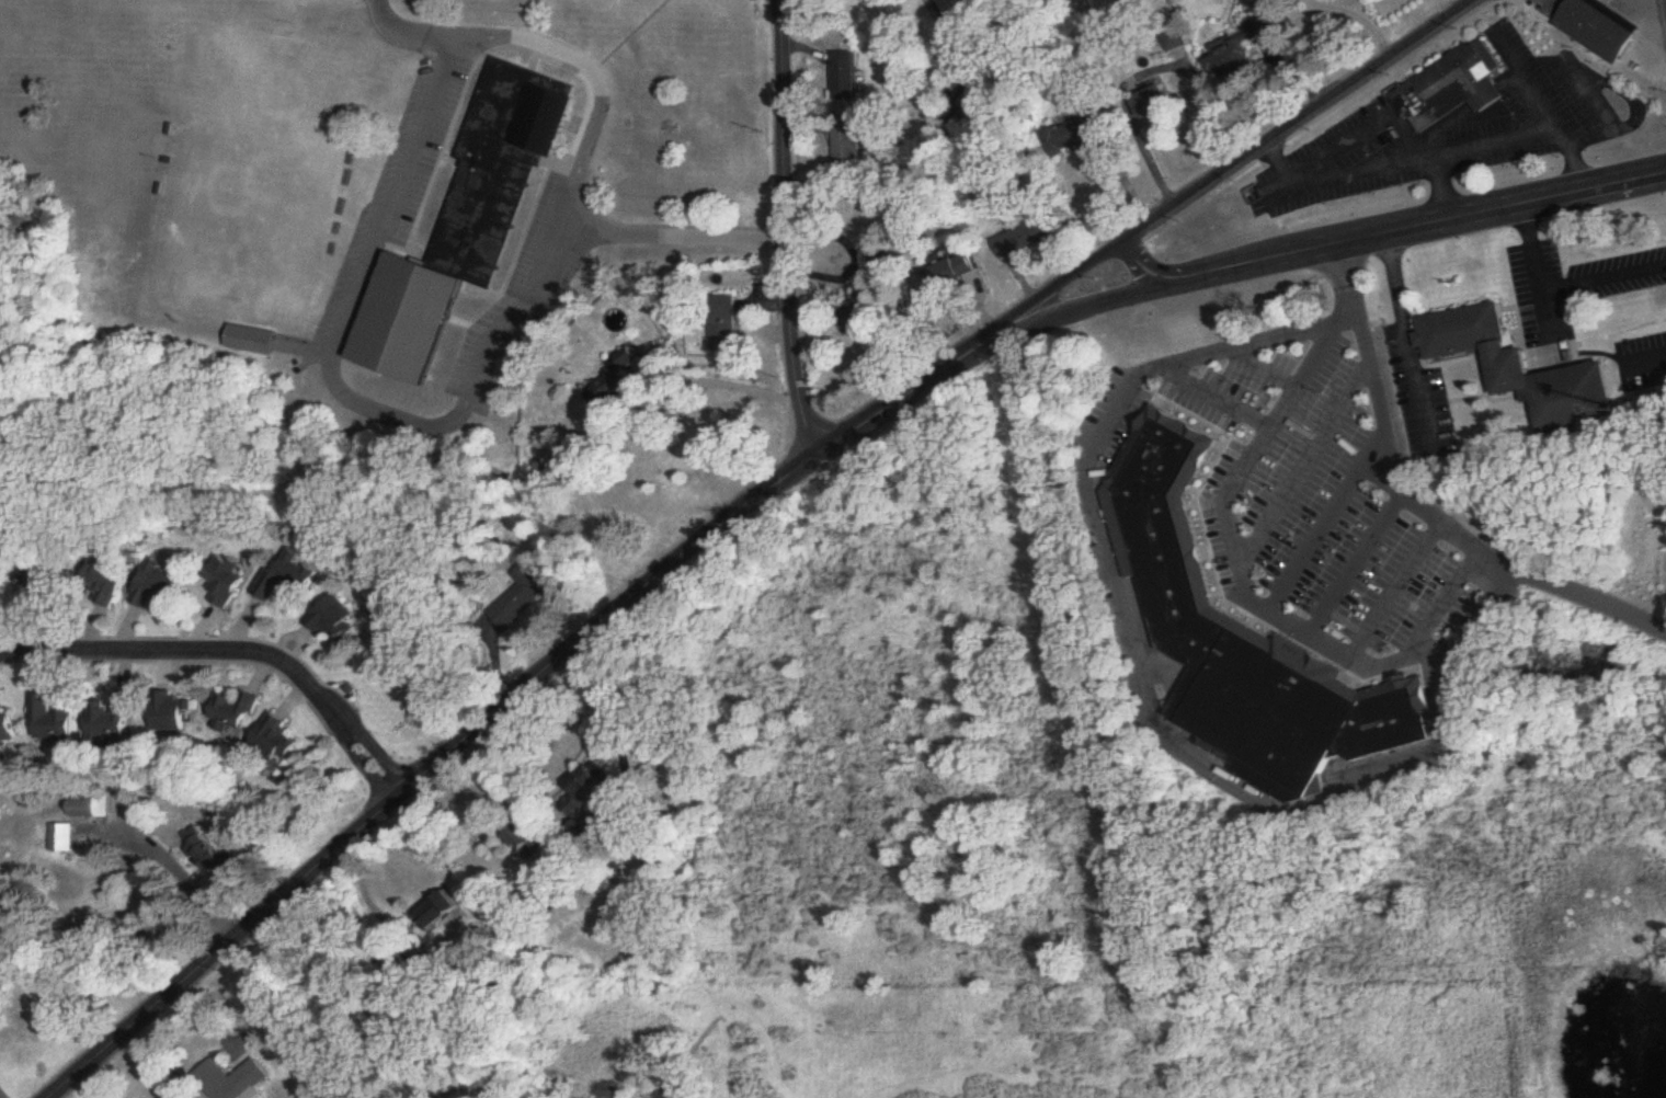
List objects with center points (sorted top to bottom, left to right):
road: (1647, 7)
building: (1596, 26)
building: (1231, 52)
building: (845, 76)
building: (1448, 88)
road: (1541, 111)
road: (1290, 122)
road: (591, 127)
building: (1069, 136)
building: (848, 144)
road: (1396, 161)
road: (1438, 185)
building: (469, 221)
road: (784, 233)
building: (1023, 239)
road: (1336, 243)
road: (1142, 270)
building: (952, 272)
road: (1059, 279)
building: (855, 289)
road: (1556, 291)
building: (860, 312)
building: (724, 320)
road: (1410, 338)
building: (253, 341)
road: (1258, 356)
building: (1524, 368)
road: (735, 384)
road: (1212, 387)
road: (347, 389)
building: (614, 391)
road: (908, 397)
road: (1099, 413)
road: (1300, 454)
road: (1418, 500)
road: (1326, 512)
road: (1351, 553)
road: (1392, 579)
building: (289, 581)
building: (225, 582)
building: (43, 584)
building: (106, 584)
road: (1257, 591)
building: (155, 593)
road: (1441, 594)
building: (518, 599)
building: (334, 620)
building: (1246, 644)
road: (230, 652)
building: (171, 713)
building: (233, 714)
building: (54, 720)
building: (115, 721)
building: (8, 732)
building: (276, 741)
road: (424, 776)
road: (506, 784)
building: (590, 804)
building: (94, 809)
building: (62, 834)
building: (529, 839)
building: (208, 855)
road: (189, 873)
building: (444, 911)
road: (381, 915)
road: (289, 1027)
building: (239, 1079)
road: (437, 1085)
building: (172, 1097)

